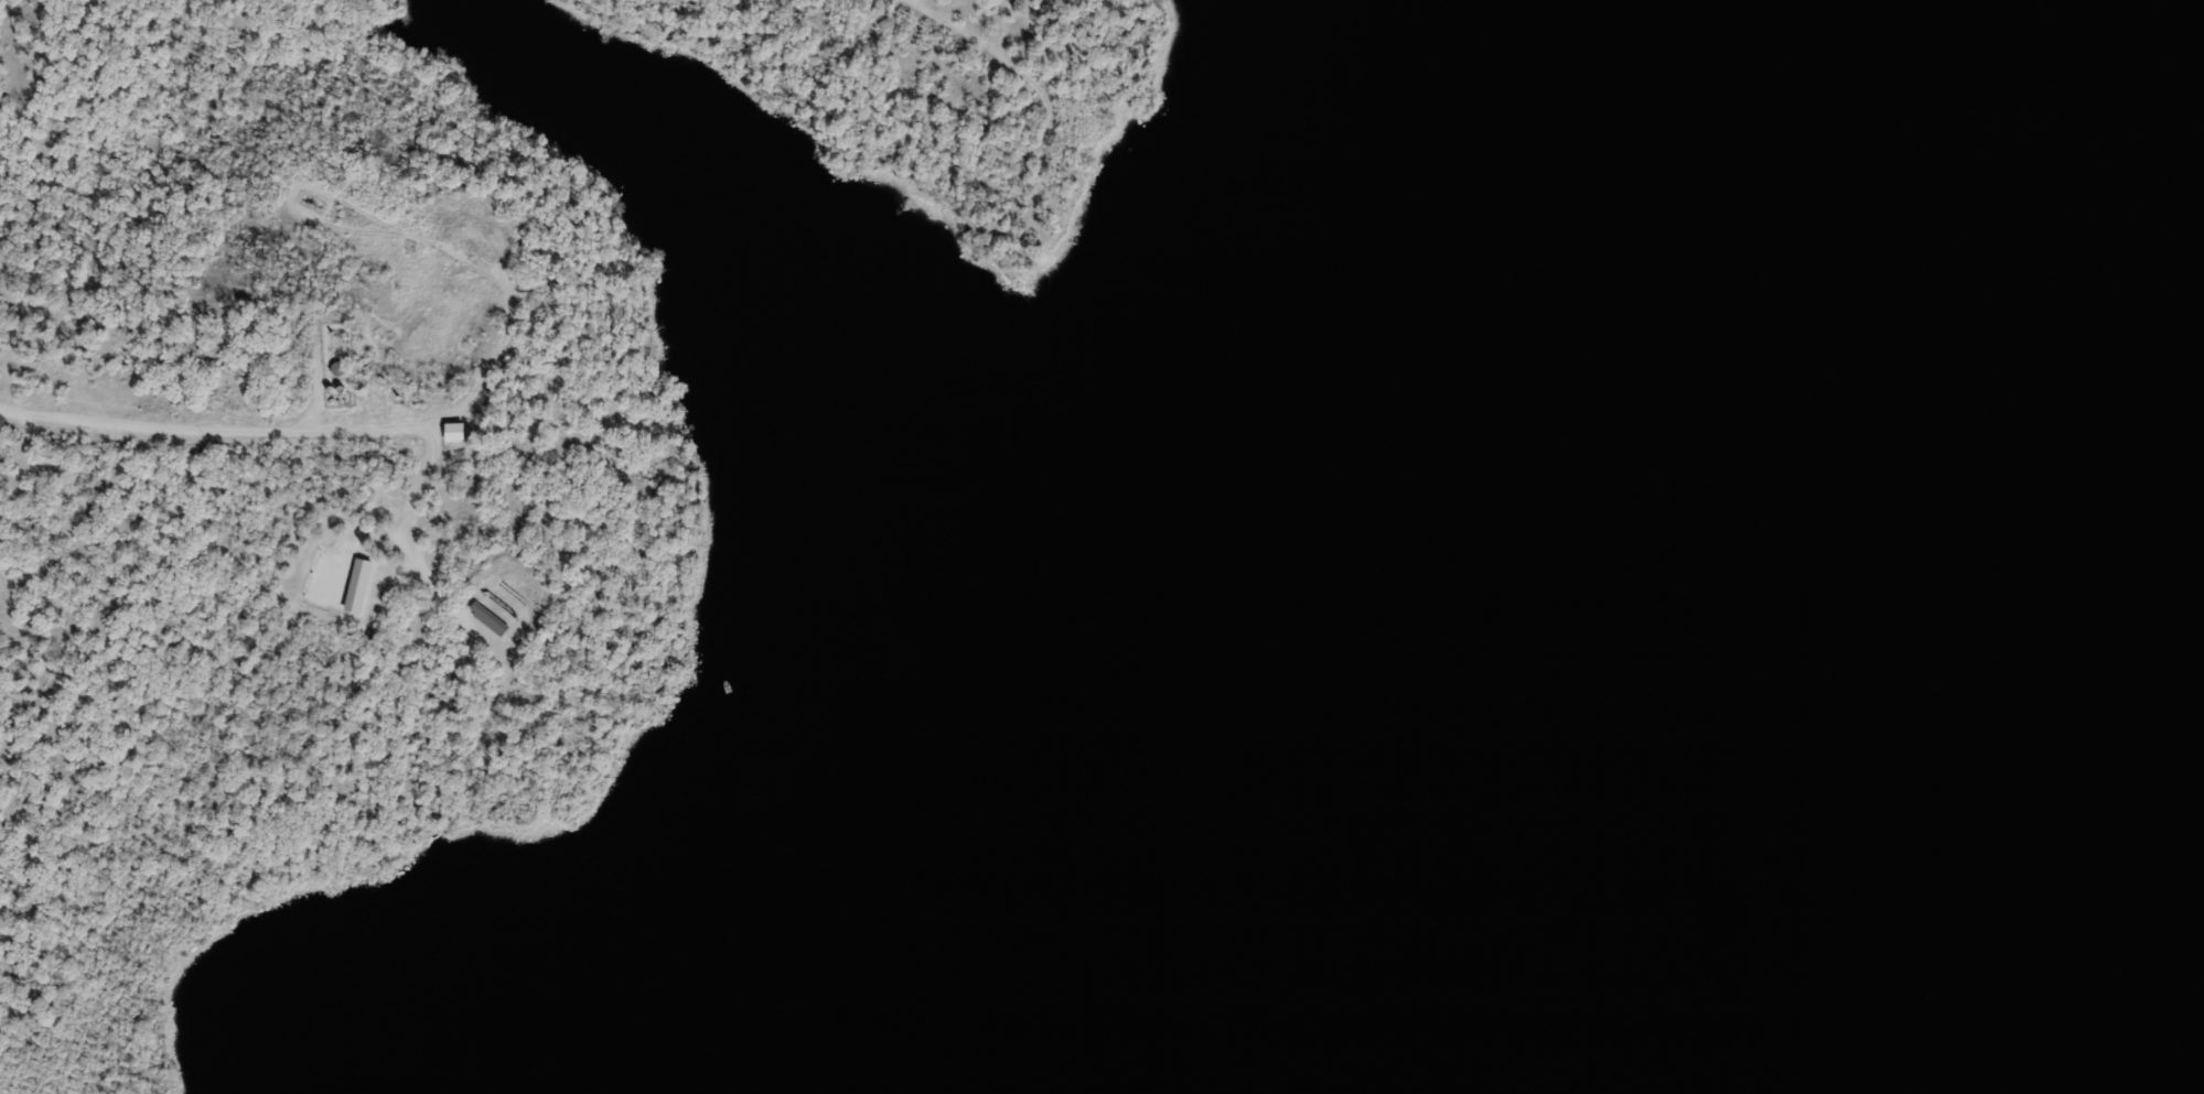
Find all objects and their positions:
road: (904, 2)
road: (986, 48)
building: (453, 432)
road: (363, 434)
park: (587, 488)
road: (412, 554)
building: (357, 585)
building: (487, 618)
building: (369, 632)

